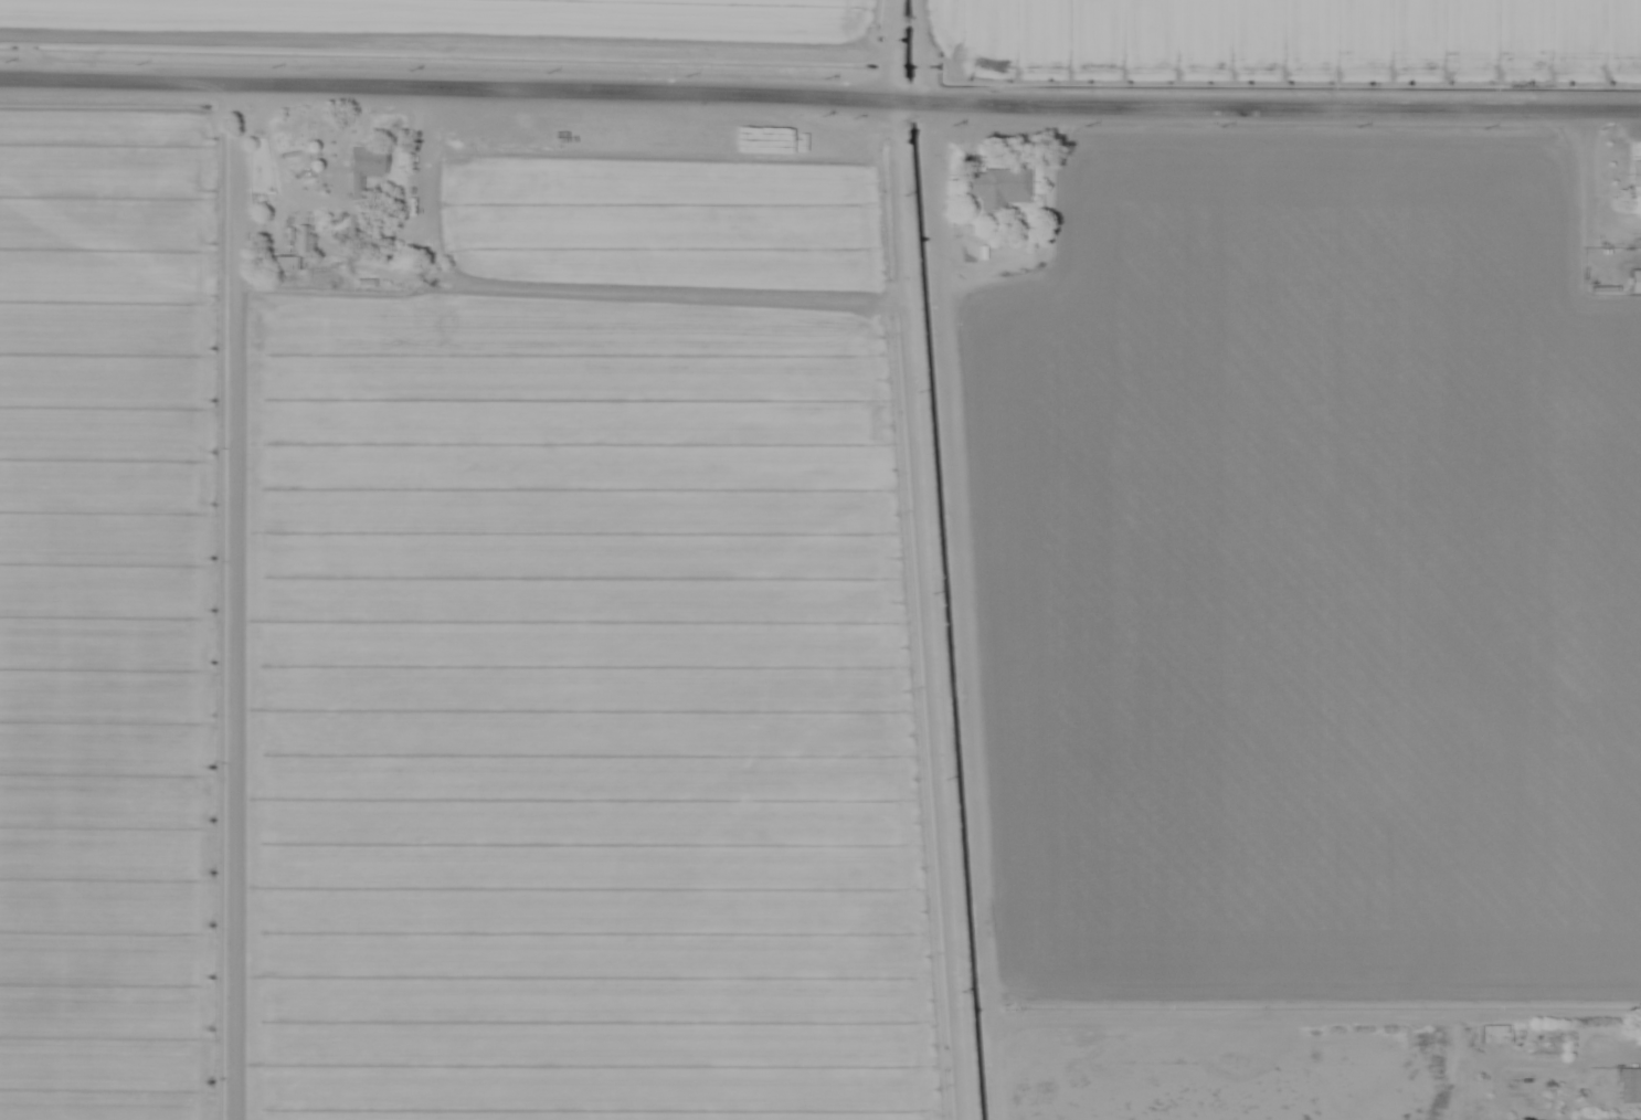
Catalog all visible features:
crop: (472, 19)
crop: (1294, 32)
road: (819, 97)
building: (361, 167)
building: (1633, 175)
building: (995, 187)
building: (300, 242)
building: (282, 266)
building: (1632, 282)
building: (1491, 1035)
building: (1637, 1042)

